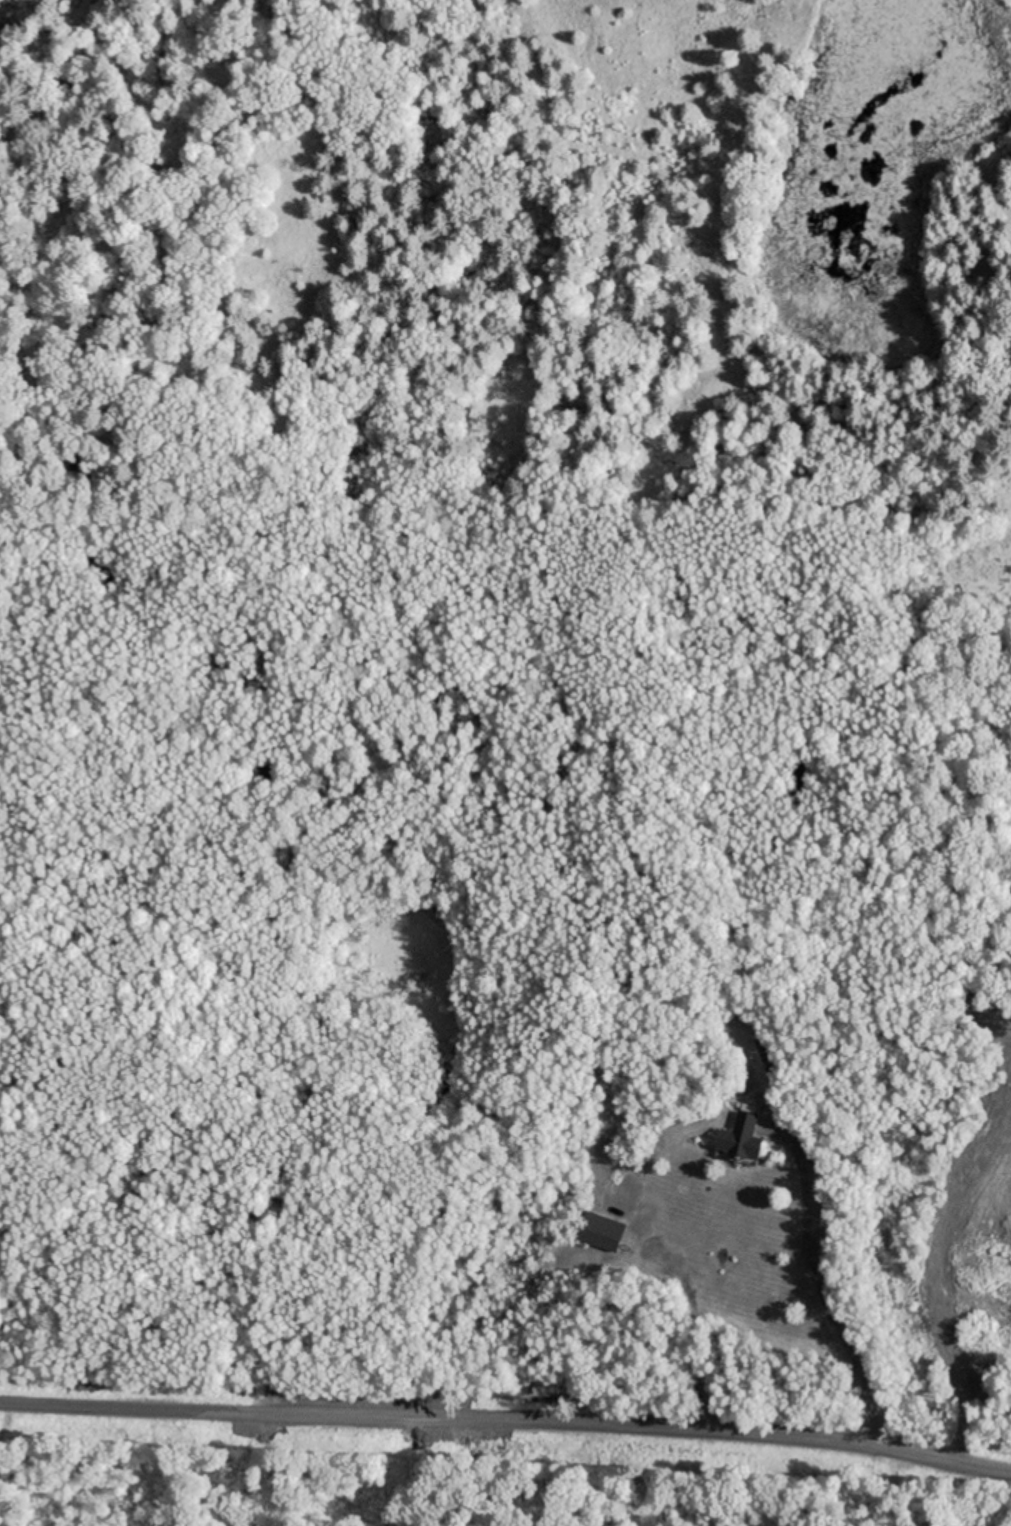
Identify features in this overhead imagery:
building: (739, 1140)
building: (600, 1233)
road: (506, 1425)

